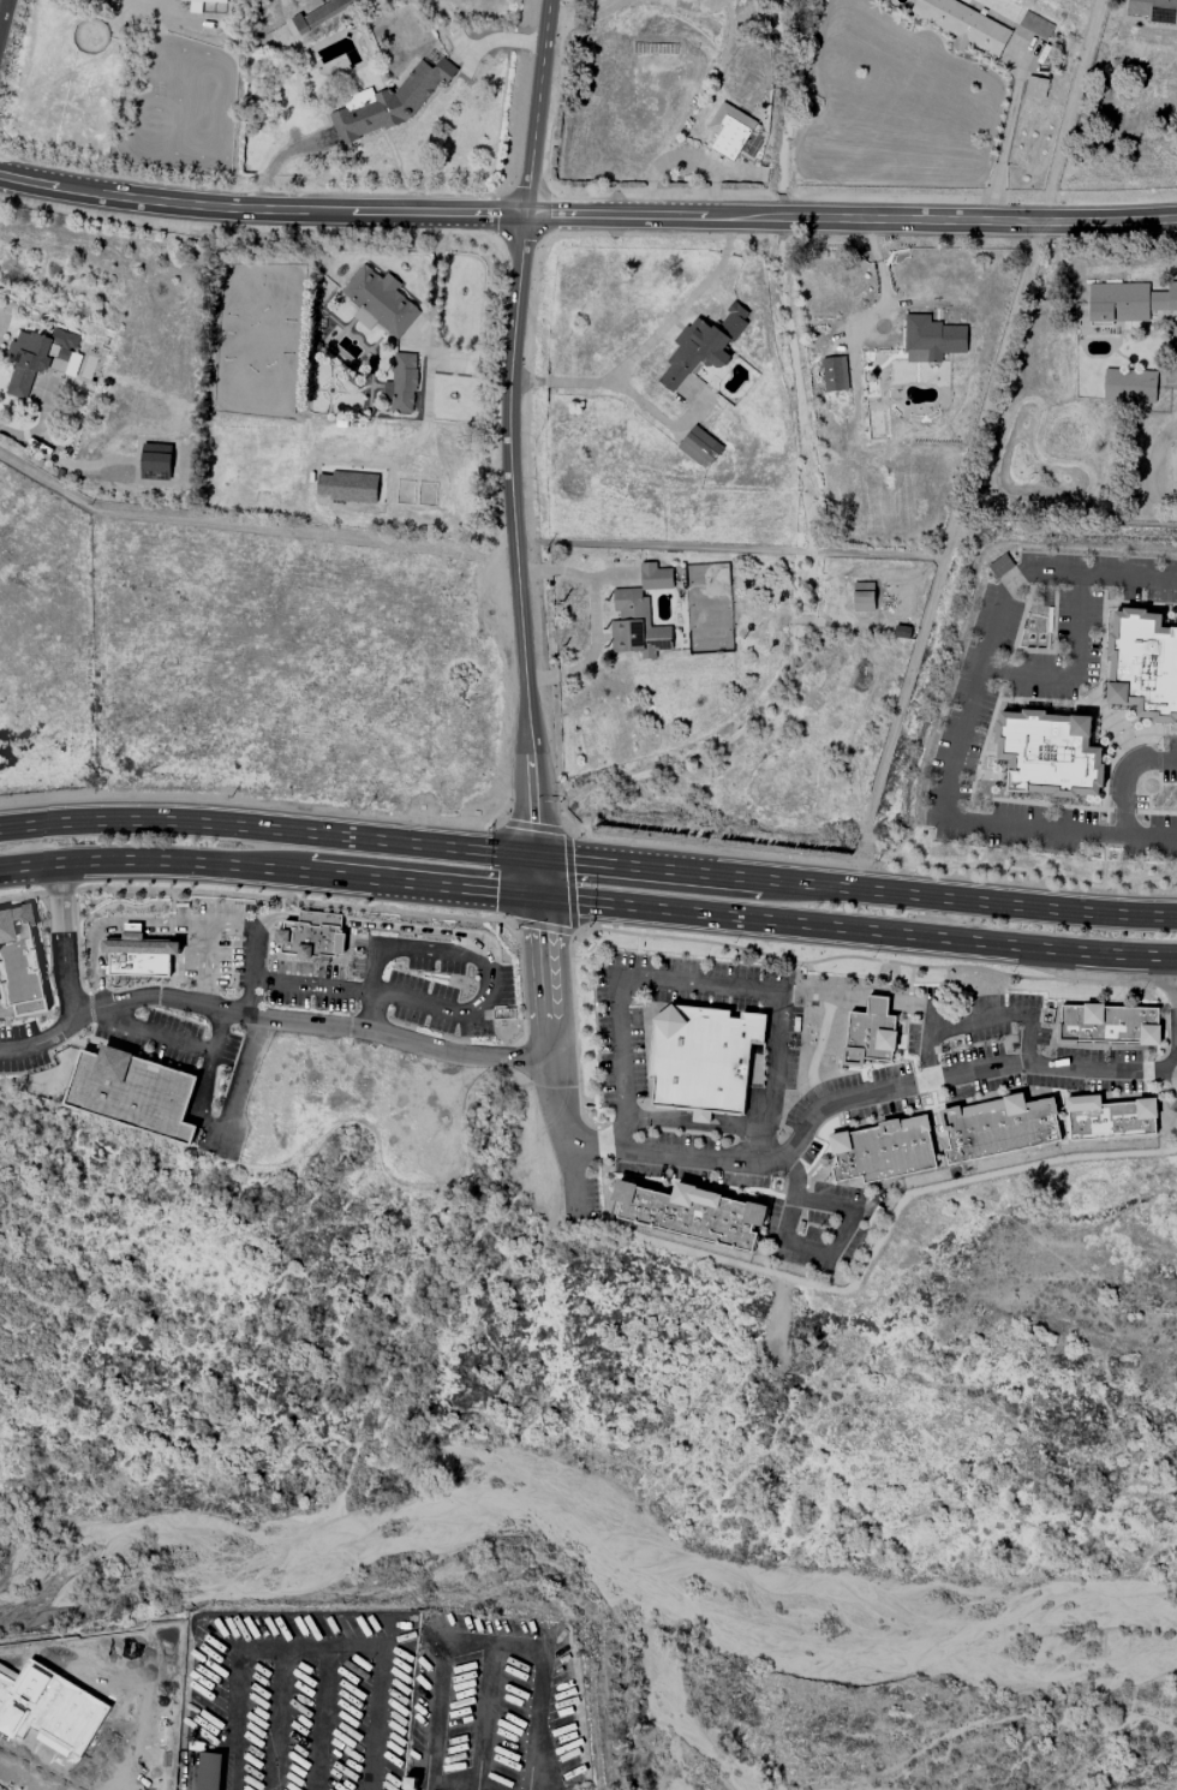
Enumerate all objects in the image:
building: (207, 0)
road: (694, 5)
road: (584, 11)
building: (1154, 11)
road: (4, 17)
building: (963, 25)
building: (1035, 25)
building: (1035, 88)
building: (390, 103)
road: (538, 106)
building: (729, 131)
road: (1008, 138)
road: (628, 215)
road: (261, 216)
road: (955, 221)
building: (381, 300)
building: (1128, 302)
building: (364, 318)
building: (931, 339)
road: (650, 345)
building: (703, 346)
building: (40, 358)
building: (835, 374)
building: (401, 383)
building: (1129, 386)
building: (699, 447)
building: (155, 461)
building: (347, 487)
road: (514, 535)
building: (655, 577)
building: (862, 597)
building: (637, 626)
building: (1143, 663)
road: (1074, 668)
road: (510, 678)
road: (963, 722)
building: (1048, 753)
road: (1124, 776)
road: (240, 804)
road: (532, 828)
road: (491, 833)
road: (584, 842)
traffic signals: (536, 859)
road: (588, 864)
road: (880, 867)
road: (537, 879)
road: (570, 883)
road: (59, 894)
road: (22, 896)
road: (286, 899)
traffic signals: (538, 900)
road: (172, 901)
road: (588, 903)
road: (280, 915)
road: (172, 921)
road: (592, 926)
road: (372, 927)
road: (214, 931)
road: (97, 933)
road: (543, 933)
road: (174, 935)
building: (313, 938)
road: (520, 938)
road: (265, 941)
road: (64, 942)
road: (637, 944)
road: (77, 947)
parking lot: (221, 947)
road: (389, 950)
building: (139, 954)
road: (868, 960)
building: (20, 965)
road: (208, 968)
road: (1104, 972)
road: (298, 977)
road: (634, 979)
road: (543, 981)
road: (909, 981)
parking lot: (434, 984)
road: (703, 985)
parking lot: (715, 986)
road: (1157, 986)
road: (521, 988)
road: (123, 989)
road: (1170, 991)
road: (661, 992)
road: (395, 1000)
road: (664, 1003)
road: (865, 1007)
road: (907, 1007)
road: (14, 1009)
road: (90, 1009)
road: (269, 1019)
road: (629, 1019)
road: (978, 1019)
building: (1106, 1025)
road: (918, 1031)
parking lot: (619, 1032)
road: (116, 1036)
building: (871, 1036)
road: (153, 1037)
parking lot: (171, 1040)
road: (819, 1042)
road: (1040, 1043)
road: (253, 1044)
road: (576, 1045)
road: (1167, 1045)
road: (518, 1048)
parking lot: (783, 1048)
parking lot: (22, 1050)
road: (521, 1054)
road: (1147, 1058)
building: (705, 1061)
road: (903, 1061)
parking lot: (980, 1061)
road: (843, 1063)
road: (1170, 1063)
road: (192, 1069)
road: (1145, 1073)
road: (205, 1076)
road: (924, 1081)
road: (1171, 1081)
building: (49, 1082)
road: (963, 1086)
building: (136, 1094)
road: (824, 1102)
road: (823, 1105)
road: (695, 1117)
building: (1107, 1118)
parking lot: (807, 1124)
road: (1169, 1128)
road: (710, 1129)
building: (999, 1129)
road: (599, 1144)
building: (885, 1152)
parking lot: (692, 1162)
road: (737, 1175)
road: (611, 1177)
road: (574, 1182)
road: (809, 1183)
road: (625, 1185)
road: (603, 1188)
road: (754, 1192)
road: (794, 1198)
road: (763, 1199)
building: (698, 1215)
parking lot: (821, 1227)
road: (880, 1237)
road: (811, 1257)
road: (778, 1263)
road: (305, 1612)
building: (208, 1771)

